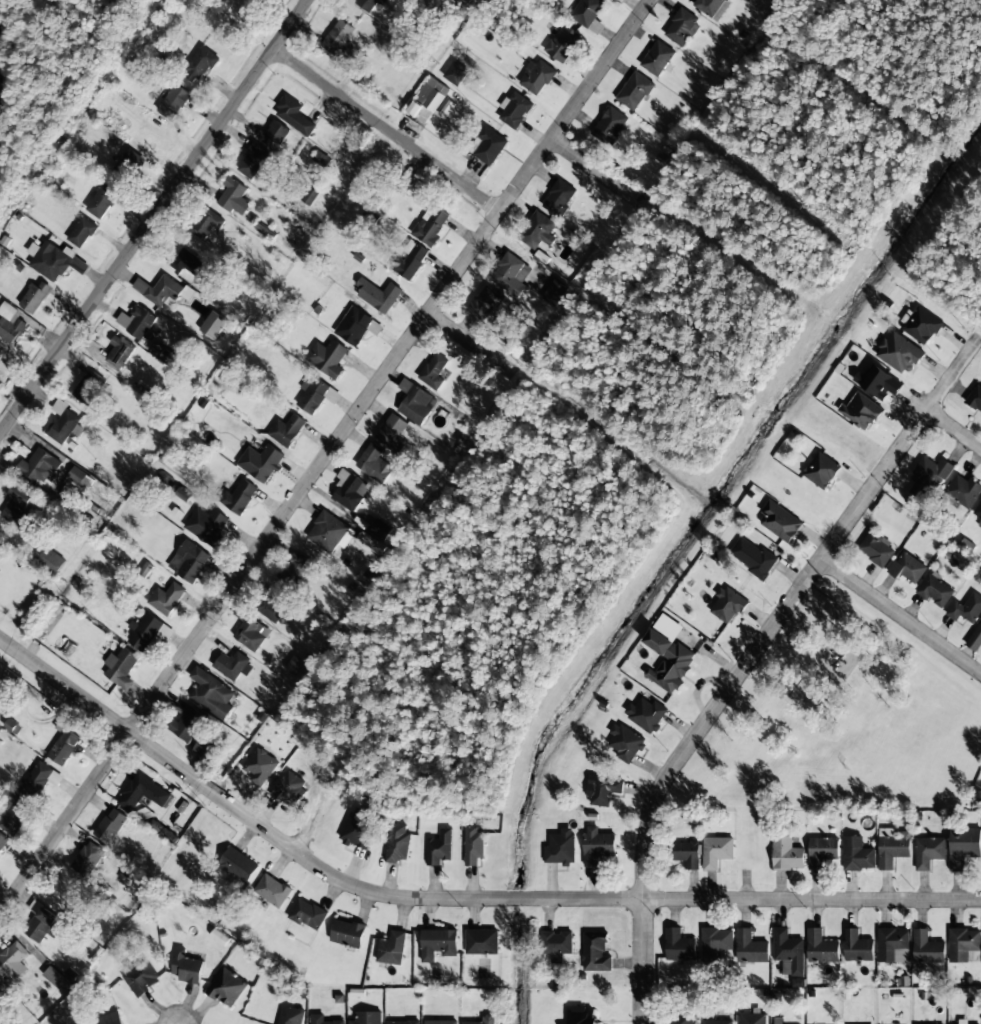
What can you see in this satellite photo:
building: (256, 0)
building: (368, 4)
building: (588, 13)
building: (682, 27)
building: (338, 37)
building: (563, 43)
building: (657, 58)
building: (199, 64)
building: (455, 73)
building: (537, 77)
building: (634, 91)
building: (428, 100)
building: (173, 102)
building: (515, 110)
building: (294, 115)
building: (610, 126)
road: (387, 128)
building: (274, 134)
building: (487, 146)
building: (253, 160)
building: (127, 166)
road: (595, 169)
building: (234, 197)
building: (308, 197)
building: (559, 198)
building: (102, 201)
road: (153, 216)
building: (206, 225)
building: (431, 225)
building: (538, 230)
building: (82, 232)
building: (410, 260)
building: (54, 261)
building: (186, 264)
building: (511, 274)
building: (159, 290)
building: (554, 292)
building: (378, 295)
building: (35, 297)
building: (485, 304)
building: (136, 322)
building: (10, 323)
building: (213, 325)
building: (921, 325)
building: (353, 326)
road: (472, 343)
building: (119, 352)
building: (899, 354)
building: (327, 358)
building: (434, 371)
building: (878, 382)
building: (88, 387)
building: (313, 395)
building: (975, 399)
building: (415, 402)
building: (861, 411)
building: (63, 422)
road: (954, 428)
building: (287, 430)
building: (393, 432)
road: (325, 456)
building: (260, 462)
building: (374, 463)
building: (40, 467)
building: (821, 470)
building: (930, 474)
building: (77, 487)
building: (349, 490)
building: (963, 491)
building: (238, 497)
building: (18, 507)
building: (978, 511)
building: (780, 521)
building: (207, 526)
building: (379, 529)
building: (329, 533)
building: (369, 543)
building: (0, 547)
building: (876, 549)
building: (752, 557)
building: (49, 559)
building: (189, 561)
building: (295, 568)
building: (907, 568)
building: (936, 590)
building: (166, 598)
building: (728, 604)
building: (273, 606)
building: (966, 609)
road: (901, 615)
building: (250, 631)
building: (148, 632)
building: (975, 640)
building: (668, 654)
road: (750, 661)
building: (233, 666)
building: (121, 667)
building: (212, 693)
building: (646, 713)
building: (187, 724)
building: (624, 743)
building: (64, 747)
building: (203, 748)
building: (260, 765)
building: (41, 781)
building: (288, 789)
building: (603, 790)
building: (143, 793)
building: (14, 814)
building: (110, 826)
building: (356, 829)
building: (2, 841)
building: (397, 844)
building: (473, 845)
building: (596, 845)
building: (963, 846)
building: (892, 847)
building: (439, 848)
building: (560, 848)
building: (716, 851)
building: (822, 851)
building: (928, 852)
building: (685, 853)
building: (786, 854)
building: (857, 854)
building: (87, 859)
building: (238, 865)
building: (272, 890)
road: (450, 897)
building: (307, 914)
building: (43, 924)
building: (348, 932)
building: (481, 942)
building: (715, 943)
building: (438, 944)
building: (556, 945)
building: (964, 945)
building: (679, 946)
building: (893, 946)
building: (821, 947)
building: (857, 947)
building: (392, 948)
building: (750, 948)
building: (928, 950)
building: (595, 952)
building: (788, 952)
building: (12, 961)
building: (186, 967)
building: (141, 978)
building: (57, 979)
building: (227, 987)
building: (290, 1015)
building: (582, 1016)
building: (111, 1018)
building: (367, 1018)
building: (680, 1019)
building: (752, 1019)
building: (322, 1020)
building: (484, 1020)
building: (776, 1020)
building: (962, 1021)
building: (403, 1022)
building: (440, 1022)
building: (716, 1022)

